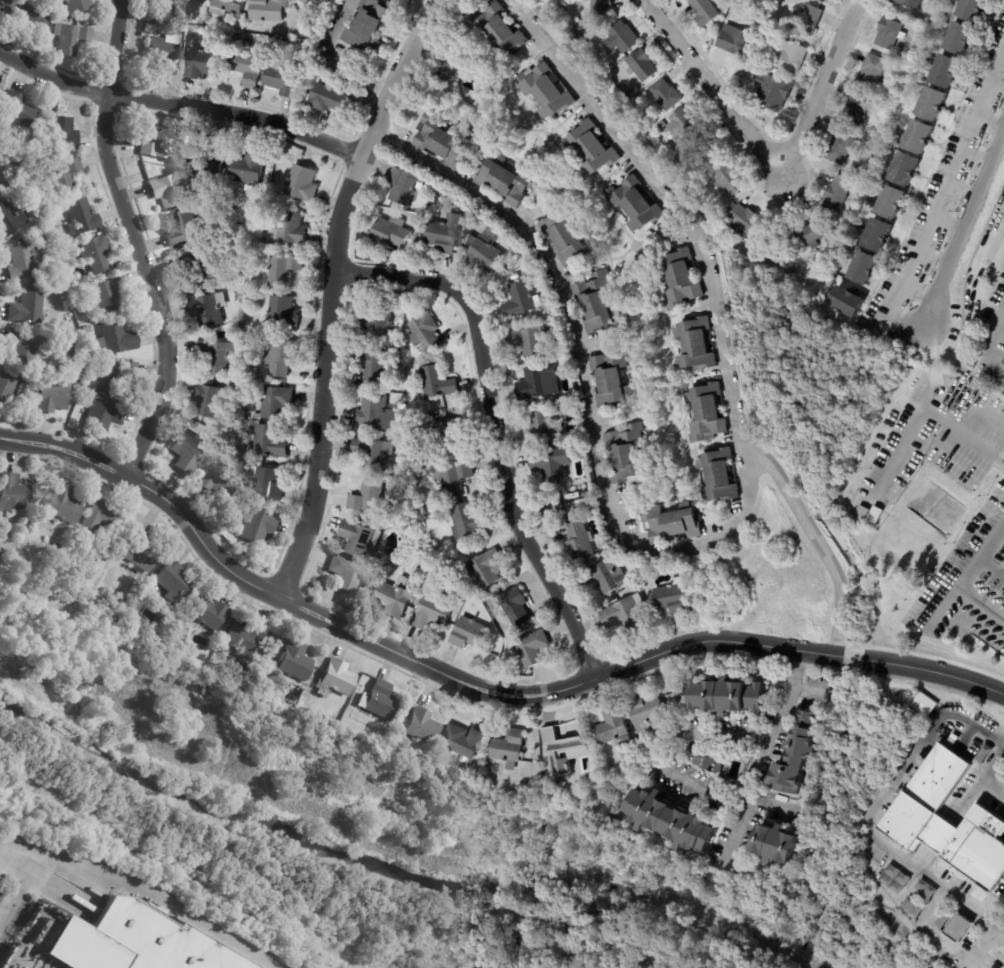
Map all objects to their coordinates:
building: (730, 0)
building: (53, 2)
building: (306, 2)
building: (912, 3)
building: (77, 6)
building: (601, 6)
building: (228, 7)
building: (4, 8)
building: (974, 9)
building: (268, 11)
building: (702, 11)
building: (155, 16)
building: (29, 19)
building: (166, 19)
building: (575, 19)
building: (808, 19)
building: (369, 26)
building: (500, 28)
building: (148, 29)
building: (889, 32)
building: (279, 33)
building: (961, 35)
building: (623, 38)
building: (71, 40)
building: (734, 40)
building: (267, 43)
building: (897, 50)
building: (166, 53)
building: (791, 56)
building: (227, 58)
road: (328, 61)
building: (642, 64)
building: (202, 65)
building: (750, 68)
building: (447, 69)
building: (249, 70)
building: (949, 71)
building: (876, 73)
building: (284, 78)
building: (1, 89)
building: (308, 89)
building: (547, 91)
building: (633, 91)
building: (774, 91)
building: (666, 94)
building: (328, 100)
building: (934, 104)
road: (180, 105)
building: (889, 106)
building: (857, 108)
building: (16, 110)
building: (662, 124)
building: (686, 124)
building: (60, 135)
building: (919, 136)
building: (443, 140)
building: (162, 144)
building: (843, 148)
building: (594, 149)
road: (964, 151)
building: (708, 153)
building: (287, 157)
building: (210, 160)
building: (249, 167)
road: (768, 169)
building: (857, 170)
building: (905, 170)
building: (869, 175)
building: (63, 177)
building: (21, 178)
building: (731, 179)
building: (507, 180)
building: (301, 183)
road: (950, 183)
building: (403, 185)
building: (168, 189)
building: (838, 193)
building: (891, 202)
building: (636, 203)
building: (731, 207)
road: (1002, 209)
building: (419, 216)
building: (474, 217)
building: (81, 218)
road: (936, 218)
building: (747, 220)
building: (10, 222)
building: (284, 228)
building: (189, 229)
building: (392, 232)
building: (445, 233)
building: (809, 234)
building: (880, 235)
building: (567, 236)
building: (41, 237)
road: (135, 241)
road: (966, 241)
road: (918, 249)
building: (63, 252)
building: (483, 252)
building: (96, 256)
building: (23, 264)
building: (509, 266)
building: (200, 267)
building: (865, 268)
building: (279, 270)
building: (237, 274)
building: (515, 276)
building: (680, 279)
building: (251, 283)
road: (329, 291)
building: (107, 296)
road: (891, 298)
building: (520, 301)
building: (598, 302)
building: (848, 302)
building: (209, 309)
building: (28, 310)
building: (279, 311)
building: (81, 312)
building: (381, 322)
building: (63, 330)
building: (87, 330)
building: (427, 334)
road: (993, 340)
building: (115, 341)
building: (531, 341)
building: (697, 344)
building: (1003, 349)
building: (22, 350)
building: (398, 354)
building: (218, 355)
building: (280, 357)
building: (1002, 362)
building: (378, 370)
building: (255, 371)
building: (117, 377)
building: (613, 377)
building: (437, 381)
building: (77, 382)
building: (540, 382)
building: (98, 389)
building: (6, 390)
building: (23, 392)
building: (52, 398)
building: (208, 400)
building: (275, 401)
building: (376, 410)
building: (708, 412)
road: (919, 413)
building: (104, 414)
building: (545, 423)
road: (493, 428)
building: (403, 430)
building: (451, 435)
building: (269, 442)
building: (188, 451)
building: (627, 453)
building: (373, 454)
building: (553, 463)
building: (415, 470)
building: (406, 472)
building: (720, 476)
building: (455, 480)
building: (217, 481)
building: (268, 486)
building: (13, 493)
building: (369, 497)
building: (63, 505)
building: (578, 505)
building: (102, 516)
building: (466, 522)
building: (673, 523)
building: (257, 525)
building: (406, 527)
road: (719, 533)
building: (360, 539)
road: (816, 539)
building: (579, 541)
building: (141, 553)
building: (422, 568)
building: (486, 569)
building: (346, 573)
building: (643, 575)
building: (606, 576)
road: (966, 576)
building: (174, 582)
building: (642, 584)
building: (396, 596)
building: (460, 597)
building: (671, 597)
building: (515, 608)
building: (433, 610)
building: (626, 614)
building: (209, 616)
building: (469, 633)
building: (244, 639)
building: (268, 639)
building: (532, 648)
building: (263, 651)
building: (295, 661)
building: (336, 677)
road: (474, 688)
building: (725, 696)
building: (381, 701)
building: (646, 711)
building: (918, 712)
building: (612, 725)
building: (422, 726)
building: (463, 742)
building: (510, 746)
building: (562, 751)
road: (761, 752)
building: (799, 755)
building: (708, 763)
road: (658, 764)
road: (989, 772)
park: (414, 804)
road: (872, 812)
building: (672, 818)
building: (614, 819)
building: (915, 823)
building: (777, 844)
building: (893, 879)
road: (20, 889)
building: (923, 891)
road: (142, 894)
road: (5, 901)
building: (911, 907)
building: (956, 927)
building: (136, 941)

